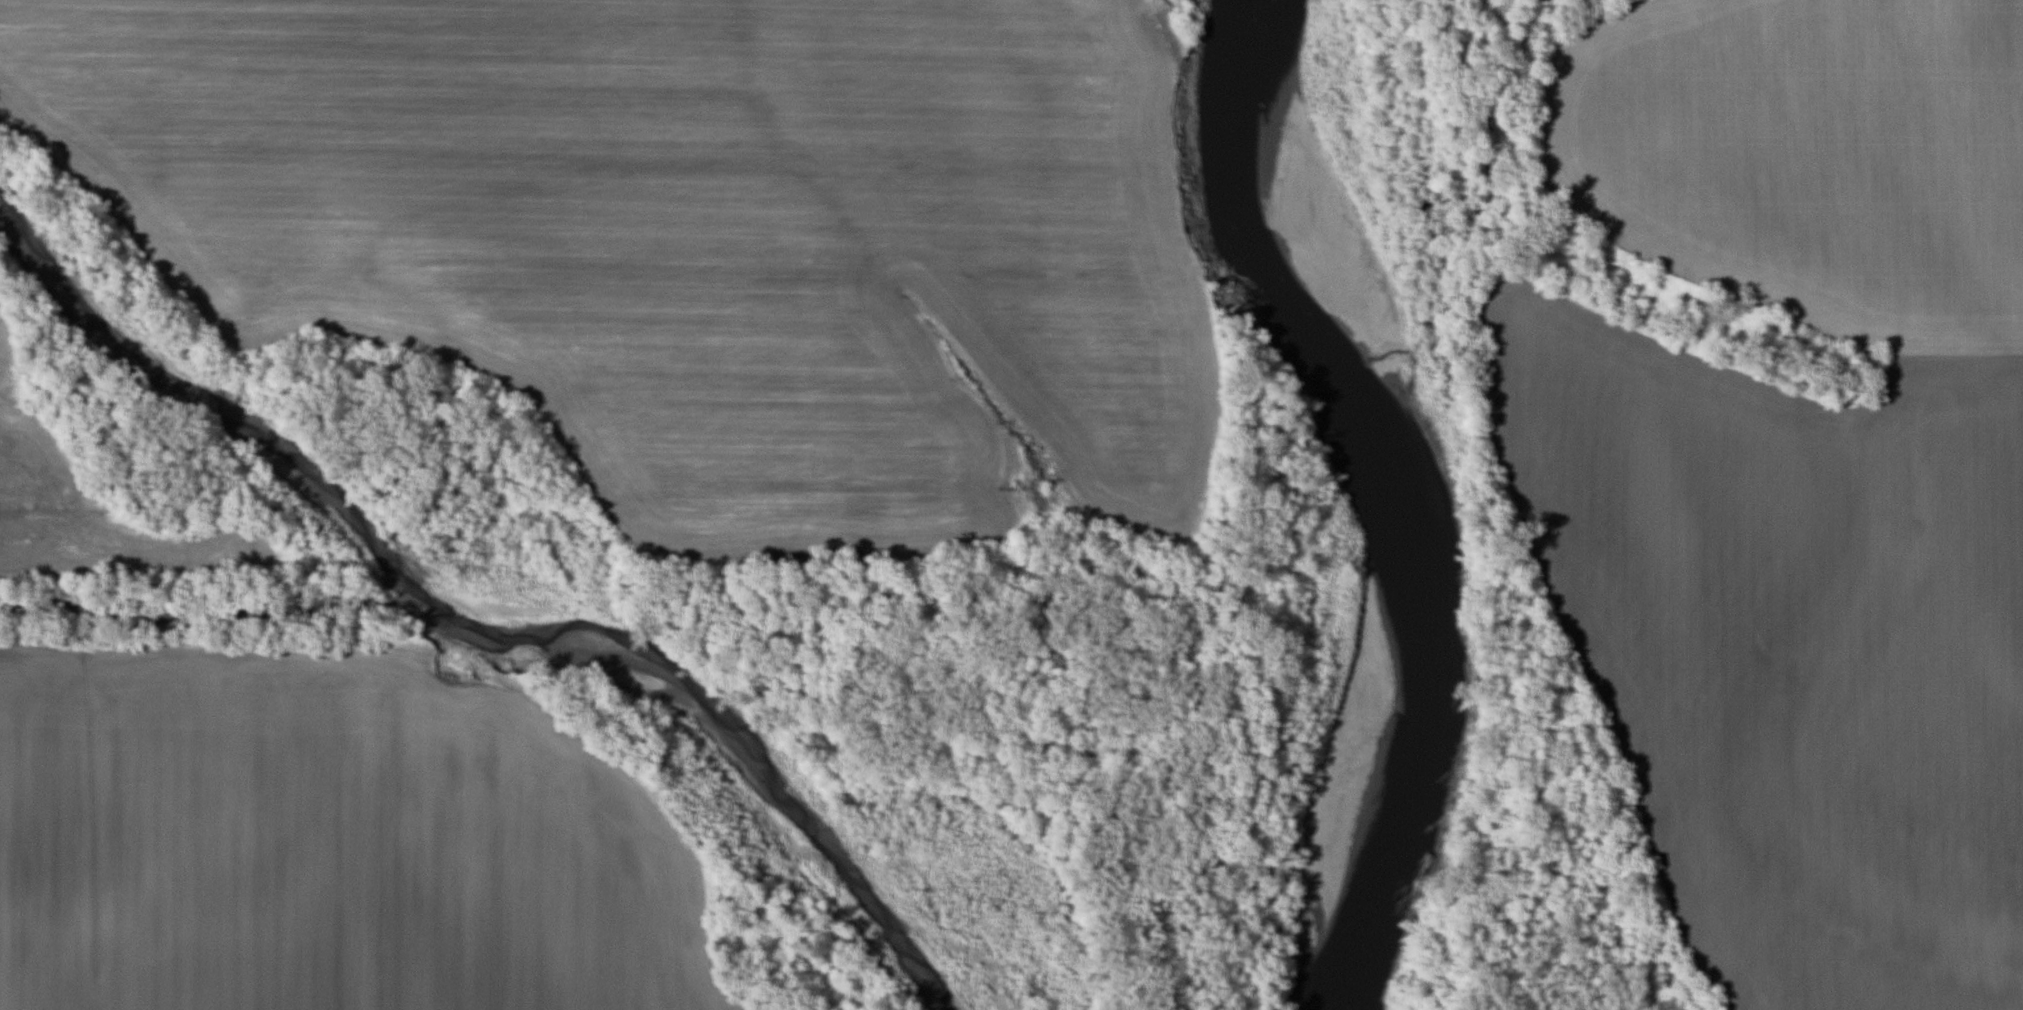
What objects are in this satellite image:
river: (1397, 497)

